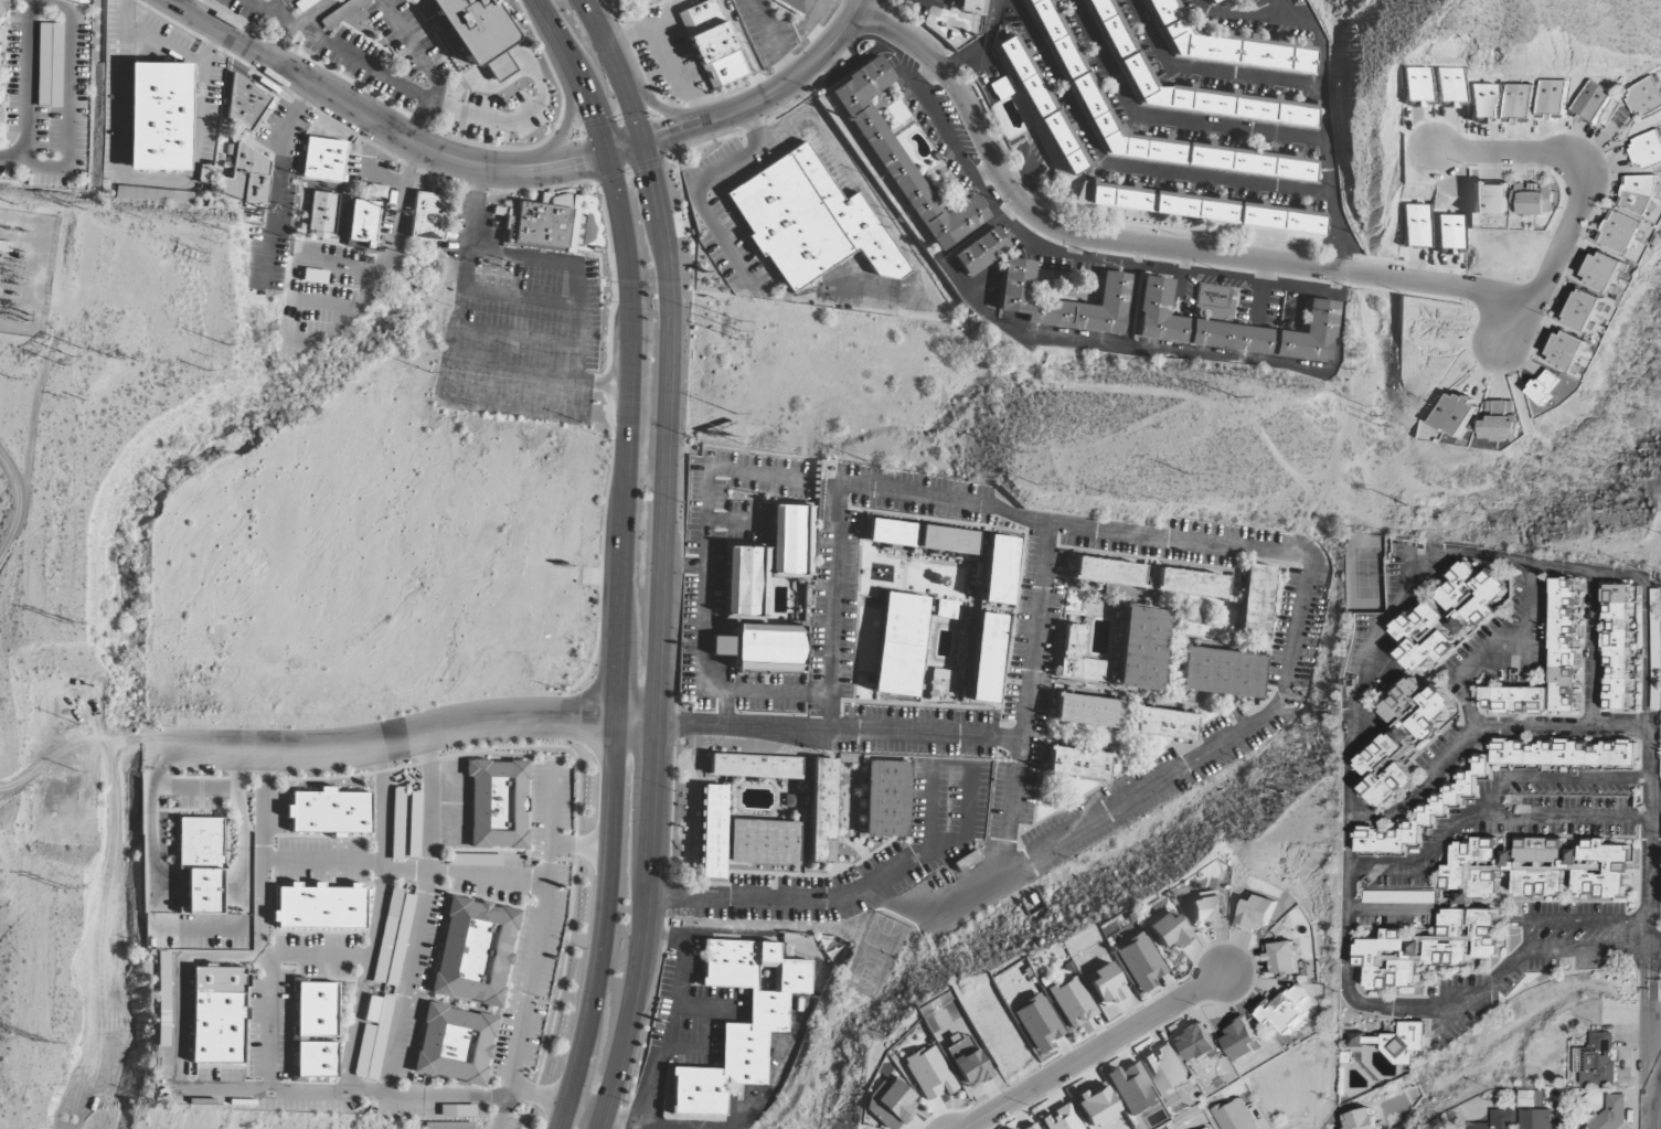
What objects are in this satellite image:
building: (78, 1)
building: (645, 1)
building: (1210, 1)
building: (1, 6)
building: (795, 6)
building: (970, 6)
road: (1277, 10)
road: (287, 12)
road: (264, 17)
road: (597, 19)
road: (295, 23)
building: (477, 32)
road: (982, 42)
building: (1225, 43)
building: (710, 44)
building: (1122, 50)
building: (1068, 61)
building: (49, 65)
road: (426, 70)
road: (1207, 71)
road: (800, 73)
road: (926, 75)
building: (1418, 86)
building: (1451, 86)
building: (1002, 87)
road: (1322, 88)
road: (26, 92)
building: (1644, 96)
road: (66, 97)
building: (1551, 98)
building: (1483, 102)
building: (244, 103)
building: (1518, 103)
building: (1591, 103)
road: (654, 106)
building: (1044, 108)
building: (158, 117)
traffic signals: (594, 118)
road: (1167, 118)
road: (377, 124)
road: (562, 134)
traffic signals: (670, 134)
road: (660, 136)
building: (1647, 150)
building: (323, 160)
traffic signals: (579, 160)
building: (901, 160)
road: (1124, 166)
traffic signals: (651, 170)
road: (986, 173)
road: (1030, 175)
building: (244, 178)
road: (1580, 189)
building: (376, 191)
building: (1638, 194)
building: (155, 195)
building: (390, 198)
building: (1489, 199)
building: (1534, 199)
building: (1199, 207)
road: (478, 211)
building: (320, 212)
building: (426, 216)
building: (359, 221)
building: (808, 222)
building: (543, 225)
building: (1416, 226)
road: (976, 230)
building: (1449, 232)
building: (1618, 232)
road: (625, 238)
road: (1143, 245)
road: (1078, 247)
building: (979, 253)
road: (1084, 257)
road: (392, 263)
power substation: (24, 270)
building: (1601, 270)
road: (1183, 281)
road: (976, 290)
road: (1131, 295)
road: (1259, 295)
road: (524, 300)
building: (1062, 302)
building: (1583, 309)
road: (1302, 310)
building: (1232, 329)
road: (520, 337)
road: (1074, 341)
building: (1568, 350)
power tower: (71, 356)
road: (539, 374)
building: (1545, 387)
building: (1456, 414)
road: (567, 416)
building: (1500, 422)
power tower: (739, 443)
power tower: (1013, 452)
road: (19, 503)
power tower: (1407, 504)
road: (733, 520)
road: (703, 530)
building: (890, 533)
building: (947, 540)
building: (791, 541)
road: (1190, 541)
road: (684, 567)
building: (999, 569)
building: (1107, 573)
road: (664, 583)
building: (1190, 584)
building: (1255, 599)
building: (947, 609)
building: (1448, 617)
building: (754, 618)
power tower: (62, 624)
building: (899, 645)
building: (1564, 646)
road: (1593, 648)
building: (1616, 648)
building: (1141, 649)
building: (986, 658)
building: (1077, 658)
building: (1220, 673)
road: (1365, 682)
building: (940, 683)
building: (1631, 686)
road: (765, 693)
building: (1513, 700)
road: (725, 707)
building: (1087, 712)
road: (1469, 712)
building: (1163, 724)
road: (840, 728)
road: (401, 737)
building: (1402, 739)
road: (65, 748)
building: (1564, 753)
building: (1077, 765)
building: (755, 766)
road: (1650, 768)
road: (1015, 776)
building: (885, 799)
building: (497, 805)
road: (1491, 808)
road: (928, 810)
building: (820, 811)
building: (328, 812)
road: (613, 814)
building: (1424, 814)
road: (1568, 817)
building: (397, 823)
building: (414, 824)
building: (711, 832)
building: (763, 842)
road: (581, 849)
road: (262, 854)
road: (321, 862)
building: (200, 863)
building: (1567, 867)
building: (1473, 869)
road: (464, 876)
power tower: (65, 886)
road: (849, 895)
building: (319, 906)
building: (1205, 912)
building: (1255, 914)
road: (419, 916)
road: (374, 917)
road: (1575, 923)
road: (539, 928)
building: (1169, 931)
road: (727, 935)
road: (1587, 948)
building: (1429, 949)
building: (475, 951)
building: (1282, 958)
road: (271, 959)
building: (1140, 961)
building: (1107, 984)
building: (161, 999)
building: (1073, 1001)
road: (703, 1008)
building: (313, 1011)
building: (1287, 1011)
building: (216, 1014)
building: (1037, 1023)
road: (267, 1025)
road: (1445, 1025)
building: (754, 1029)
road: (670, 1030)
building: (373, 1037)
power tower: (42, 1040)
building: (1242, 1040)
building: (1391, 1042)
building: (454, 1044)
building: (1197, 1044)
road: (701, 1047)
road: (1646, 1048)
road: (1094, 1051)
building: (316, 1059)
building: (1598, 1059)
building: (967, 1062)
road: (312, 1068)
building: (1167, 1069)
building: (929, 1073)
road: (771, 1085)
road: (1643, 1088)
building: (1132, 1089)
road: (213, 1090)
road: (443, 1097)
road: (536, 1097)
building: (1531, 1098)
building: (890, 1104)
road: (1660, 1105)
building: (1096, 1107)
road: (501, 1108)
road: (1660, 1109)
road: (585, 1112)
building: (1610, 1114)
building: (1235, 1115)
building: (1061, 1119)
building: (1536, 1119)
road: (1658, 1119)
building: (1361, 1120)
building: (1498, 1120)
building: (1032, 1127)
road: (662, 1128)
building: (1010, 1128)
building: (1210, 1128)

